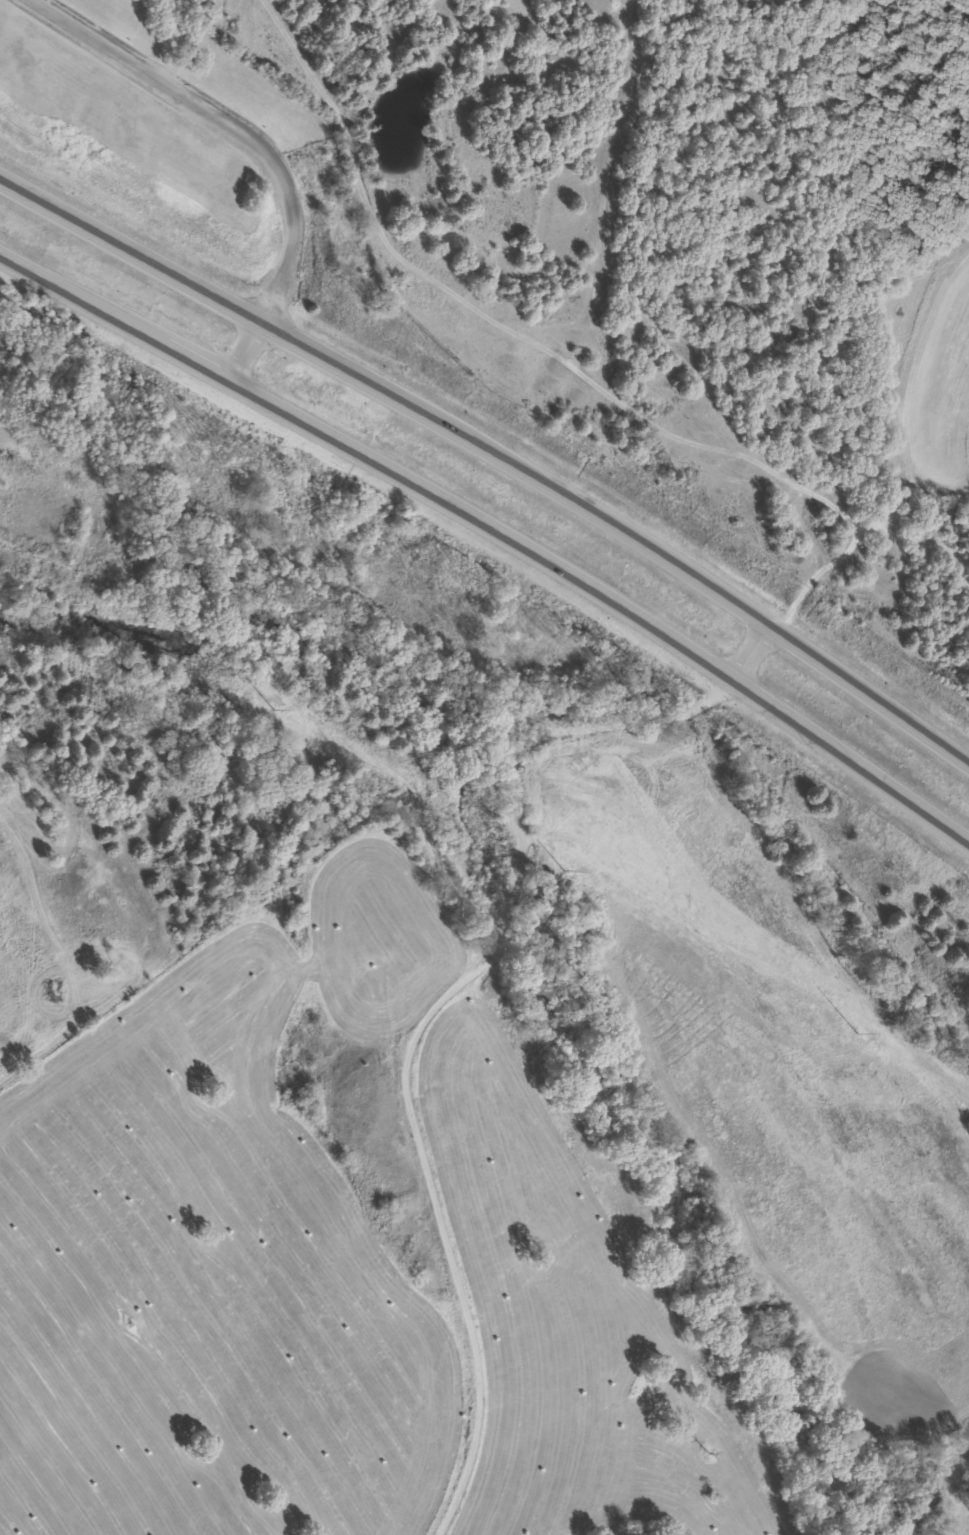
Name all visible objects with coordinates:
road: (223, 125)
road: (241, 352)
road: (491, 465)
road: (497, 530)
road: (424, 993)

